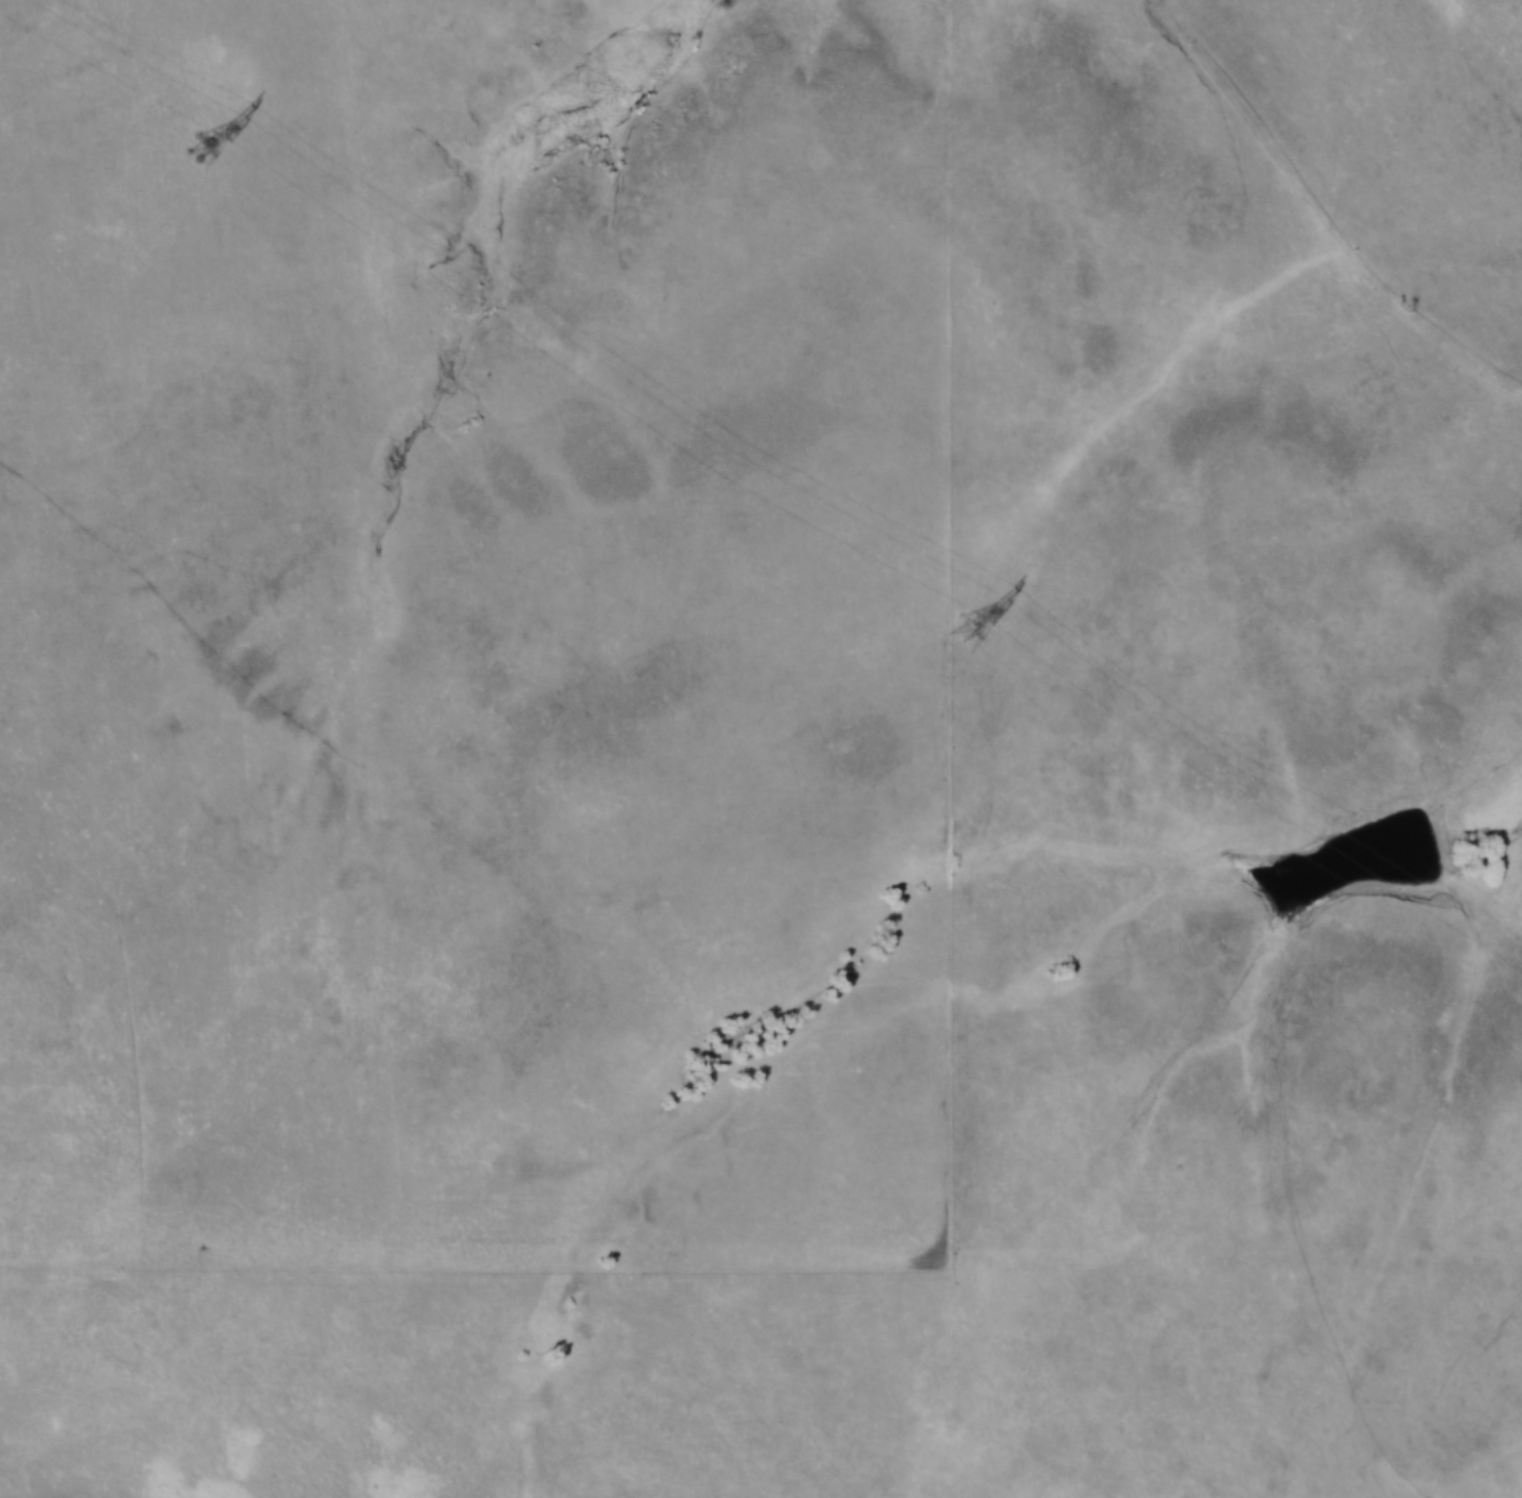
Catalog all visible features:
power tower: (198, 146)
power tower: (960, 626)

